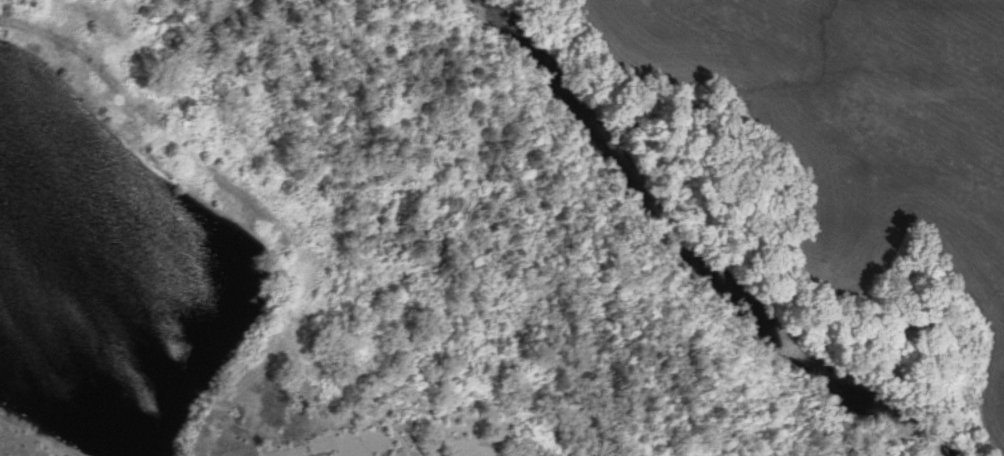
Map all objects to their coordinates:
river: (672, 239)
quarry: (412, 423)

